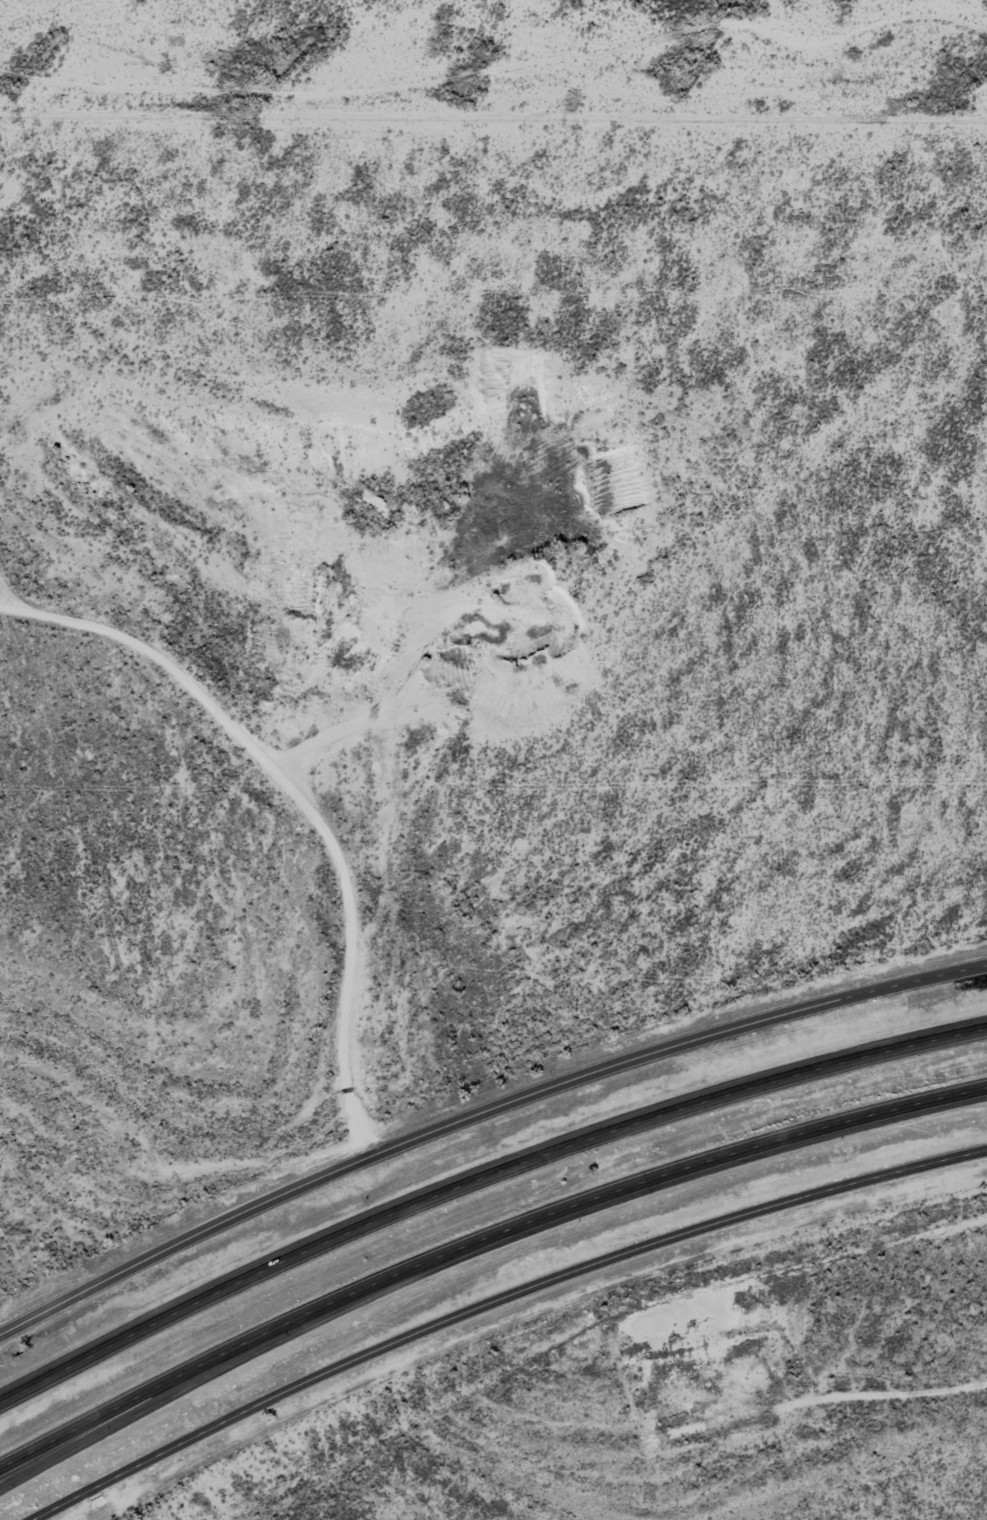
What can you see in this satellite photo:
road: (493, 69)
road: (121, 951)
road: (480, 1114)
road: (480, 1175)
road: (478, 1244)
road: (496, 1299)

